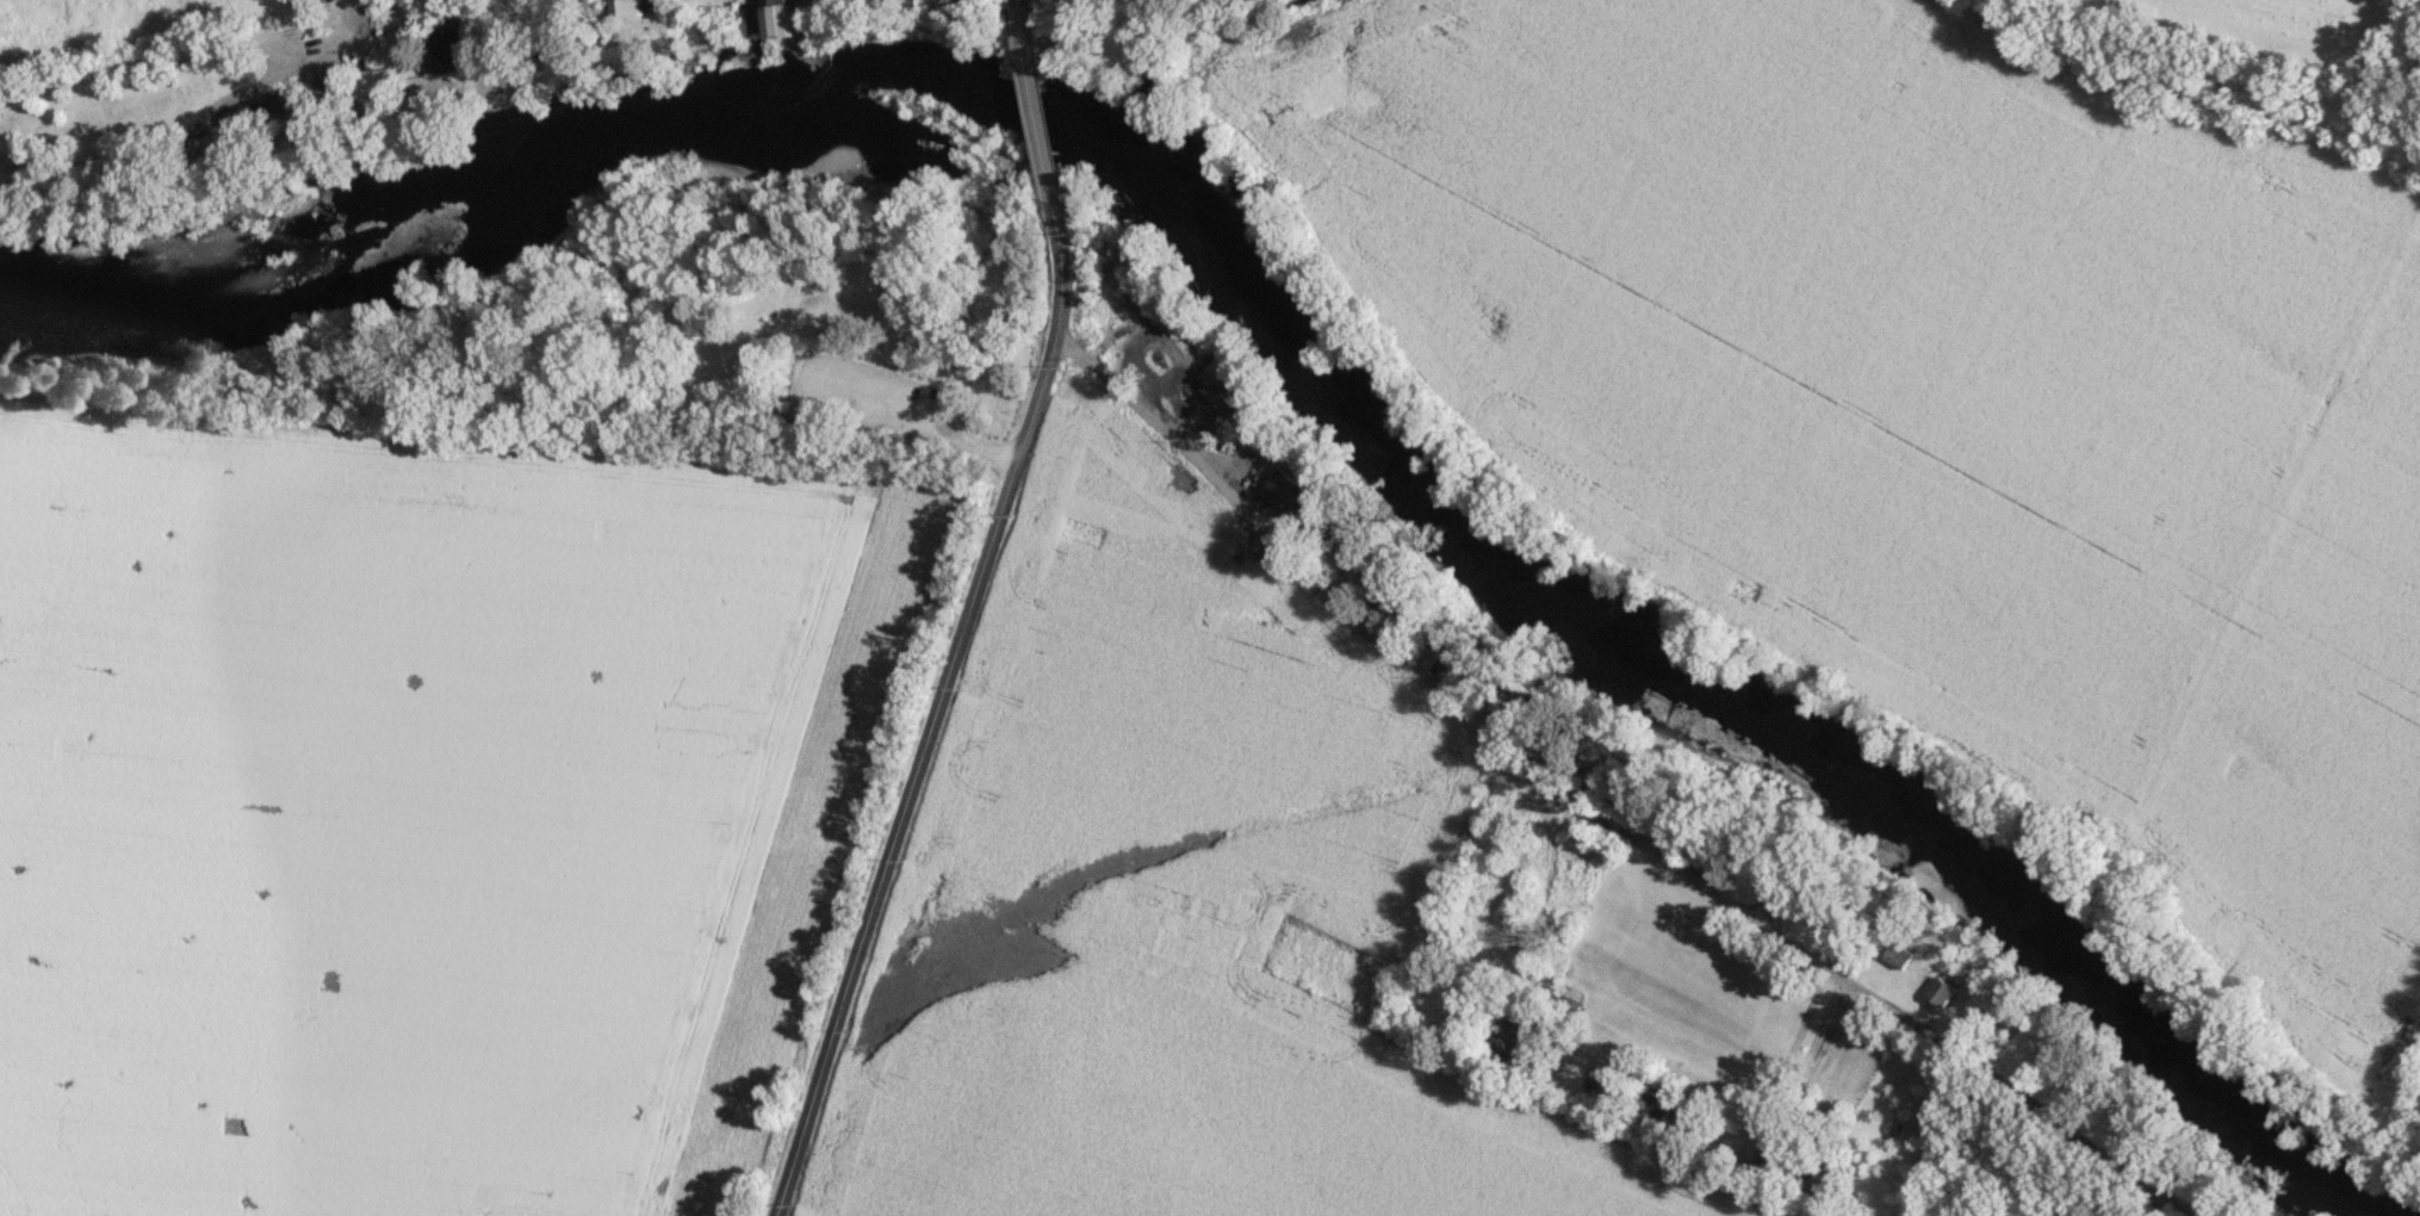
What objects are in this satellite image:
building: (961, 2)
road: (1017, 2)
building: (904, 6)
building: (632, 7)
building: (782, 19)
building: (572, 30)
building: (457, 49)
road: (176, 57)
building: (280, 106)
road: (1036, 107)
river: (1271, 310)
road: (914, 424)
building: (1286, 489)
building: (1406, 600)
building: (1451, 645)
road: (931, 714)
building: (1549, 750)
road: (1588, 792)
crop: (383, 805)
building: (1717, 845)
crop: (1180, 905)
building: (1830, 912)
building: (1898, 956)
building: (1941, 991)
building: (1569, 994)
road: (1496, 1034)
building: (1497, 1041)
building: (1768, 1156)
road: (2159, 1206)
road: (2182, 1206)

